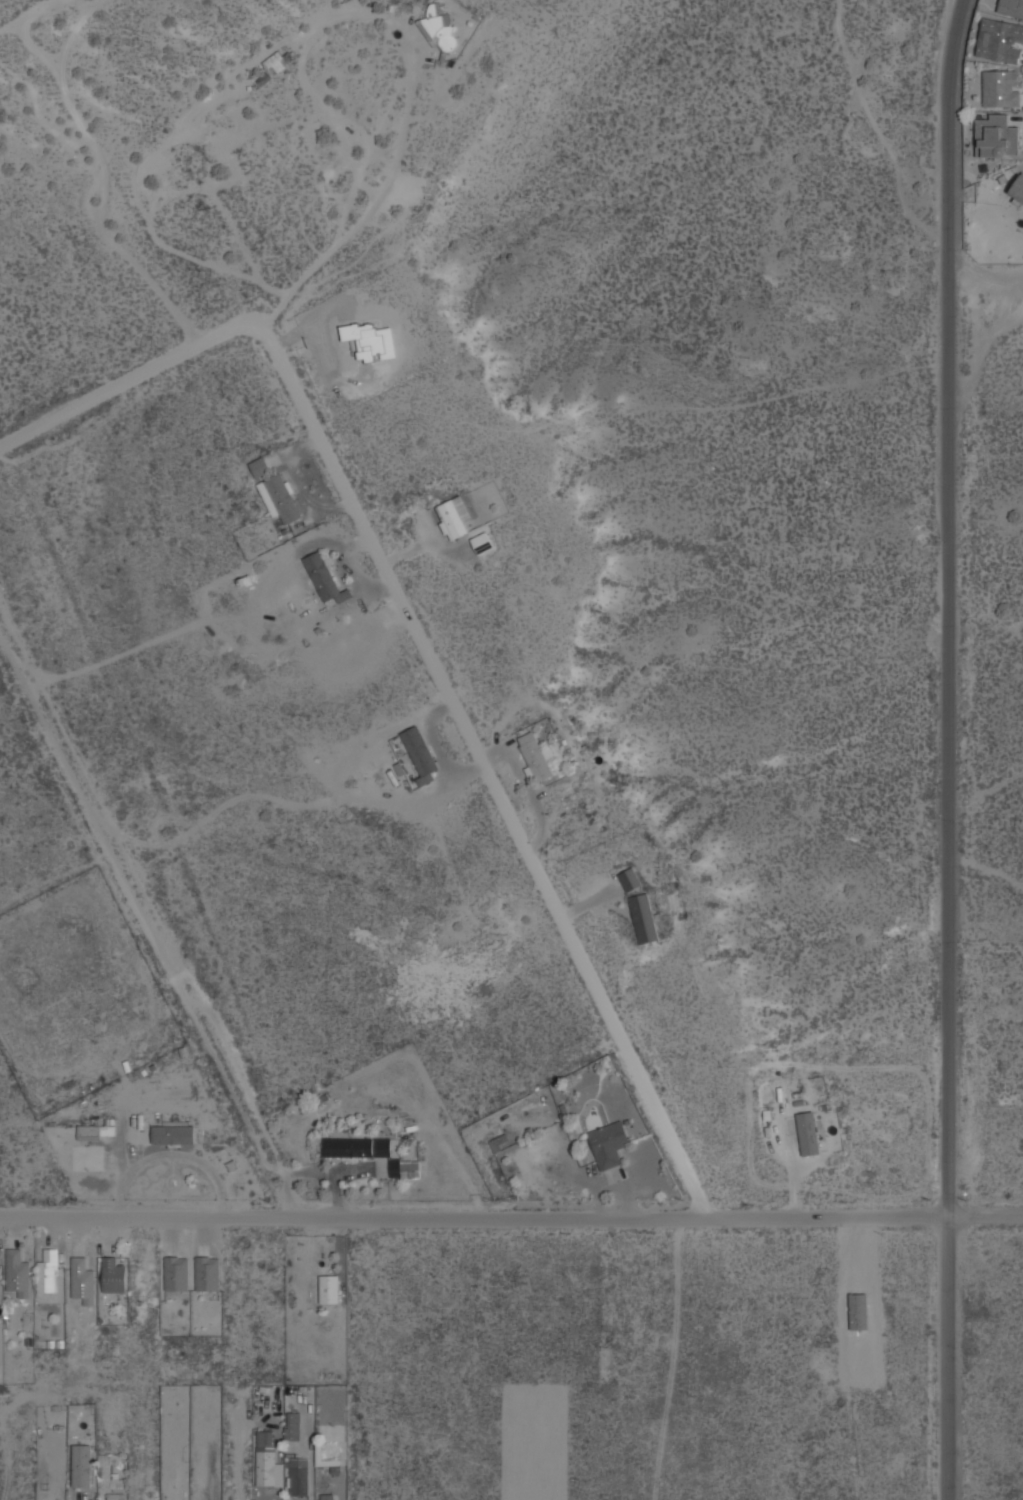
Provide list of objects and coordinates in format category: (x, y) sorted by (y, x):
building: (1011, 6)
road: (29, 14)
building: (439, 33)
building: (1000, 40)
road: (412, 52)
building: (276, 61)
building: (1001, 87)
building: (996, 135)
building: (1017, 189)
road: (985, 286)
road: (131, 383)
building: (260, 466)
building: (280, 497)
building: (454, 516)
building: (482, 543)
building: (324, 577)
road: (947, 749)
building: (420, 753)
building: (536, 755)
road: (489, 768)
building: (406, 804)
building: (629, 877)
building: (644, 917)
road: (147, 929)
building: (95, 1130)
building: (807, 1132)
building: (173, 1133)
building: (499, 1143)
building: (609, 1143)
building: (349, 1146)
building: (409, 1169)
road: (511, 1220)
building: (18, 1271)
building: (48, 1271)
building: (176, 1272)
building: (207, 1272)
building: (113, 1275)
building: (82, 1280)
building: (329, 1288)
building: (858, 1310)
building: (293, 1426)
building: (82, 1465)
building: (269, 1467)
building: (299, 1476)
road: (79, 1495)
building: (115, 1496)
building: (326, 1496)

